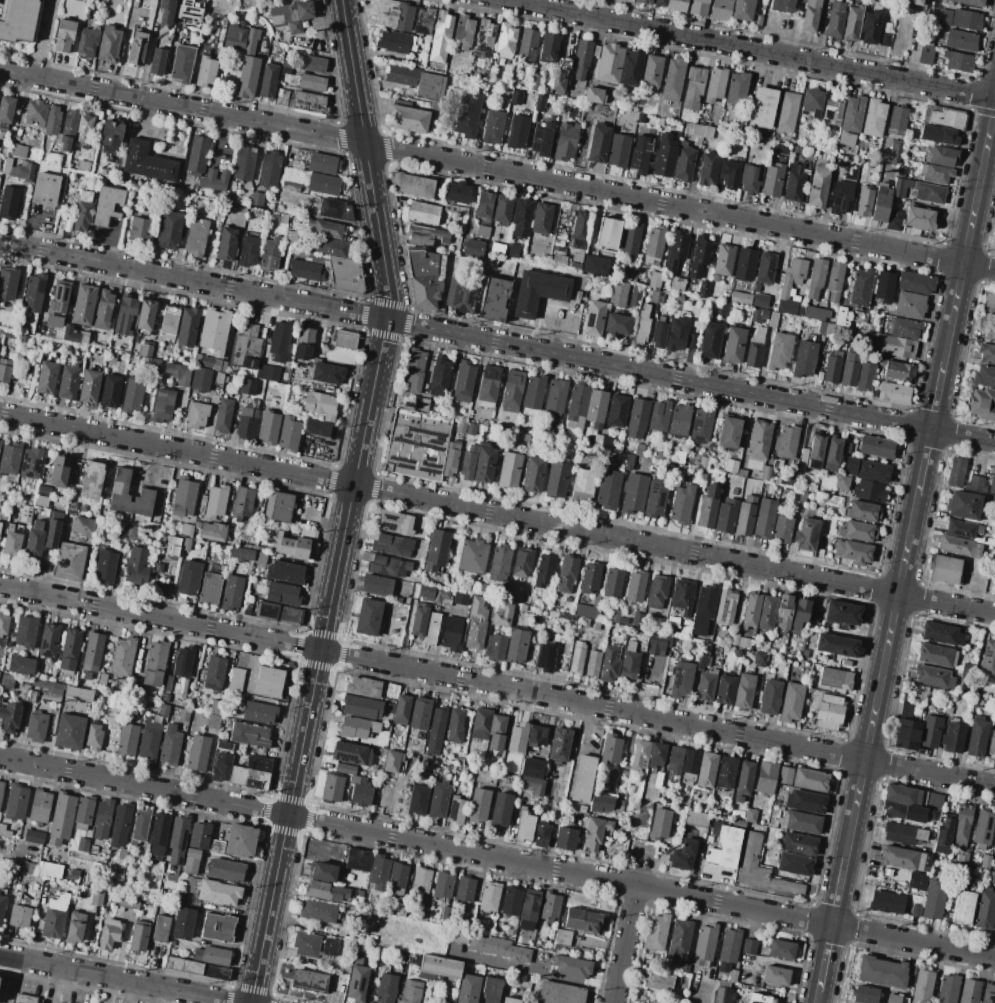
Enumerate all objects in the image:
building: (102, 0)
building: (803, 0)
building: (628, 1)
building: (644, 1)
building: (660, 2)
building: (914, 2)
building: (968, 2)
building: (677, 5)
building: (781, 5)
building: (698, 8)
building: (720, 9)
building: (742, 9)
building: (304, 10)
building: (166, 11)
building: (189, 11)
building: (386, 13)
building: (279, 15)
building: (810, 15)
building: (403, 17)
building: (18, 19)
building: (835, 19)
building: (960, 19)
building: (423, 20)
road: (325, 21)
building: (852, 22)
building: (870, 26)
building: (294, 28)
building: (463, 31)
building: (64, 36)
building: (235, 36)
building: (440, 36)
building: (484, 37)
road: (44, 38)
building: (251, 39)
building: (884, 39)
building: (961, 40)
building: (505, 41)
building: (396, 42)
building: (88, 43)
road: (121, 44)
building: (527, 44)
building: (109, 45)
building: (137, 48)
building: (548, 48)
road: (754, 49)
building: (595, 50)
building: (926, 54)
building: (582, 58)
building: (158, 61)
building: (958, 61)
building: (182, 62)
building: (609, 63)
building: (312, 64)
building: (285, 67)
building: (631, 68)
building: (651, 70)
building: (205, 71)
building: (401, 75)
building: (247, 77)
building: (673, 79)
building: (267, 80)
building: (558, 80)
building: (312, 82)
building: (534, 82)
building: (715, 84)
building: (428, 86)
building: (737, 87)
building: (483, 88)
building: (694, 88)
building: (491, 89)
building: (594, 95)
building: (281, 97)
building: (515, 97)
building: (308, 102)
building: (812, 102)
building: (539, 103)
building: (6, 108)
building: (762, 108)
building: (787, 112)
building: (35, 113)
road: (146, 114)
building: (467, 114)
building: (831, 114)
building: (853, 114)
building: (873, 118)
building: (897, 118)
building: (946, 118)
building: (408, 119)
building: (51, 121)
building: (493, 127)
building: (68, 128)
building: (85, 130)
building: (696, 130)
building: (517, 131)
building: (708, 132)
building: (938, 134)
building: (110, 136)
road: (220, 138)
building: (542, 139)
building: (565, 142)
building: (599, 143)
building: (797, 149)
building: (618, 150)
building: (18, 151)
building: (896, 152)
building: (197, 154)
building: (942, 156)
building: (664, 157)
building: (53, 159)
building: (639, 160)
building: (145, 162)
building: (684, 162)
building: (244, 163)
building: (321, 163)
building: (83, 164)
building: (7, 166)
building: (269, 169)
road: (497, 169)
building: (708, 169)
building: (23, 172)
building: (106, 172)
building: (729, 173)
building: (935, 174)
building: (750, 179)
building: (214, 180)
building: (774, 181)
building: (794, 182)
building: (324, 184)
building: (290, 186)
building: (416, 186)
building: (818, 187)
building: (901, 187)
building: (45, 190)
building: (456, 193)
building: (929, 193)
building: (841, 197)
building: (256, 198)
building: (864, 201)
building: (9, 202)
building: (881, 203)
building: (484, 204)
building: (108, 205)
building: (503, 208)
building: (330, 209)
building: (455, 209)
building: (83, 212)
building: (423, 212)
building: (521, 217)
building: (542, 218)
building: (919, 218)
building: (893, 221)
building: (325, 228)
building: (580, 229)
road: (969, 229)
building: (169, 230)
building: (140, 231)
building: (482, 231)
building: (608, 233)
building: (425, 234)
building: (291, 236)
building: (560, 236)
building: (195, 237)
building: (631, 238)
building: (655, 241)
building: (558, 243)
building: (226, 244)
building: (326, 246)
building: (473, 248)
building: (513, 250)
building: (558, 250)
building: (676, 250)
building: (248, 251)
building: (270, 253)
building: (577, 255)
building: (699, 255)
building: (315, 258)
building: (559, 261)
building: (723, 261)
building: (745, 263)
building: (595, 265)
building: (766, 268)
building: (305, 269)
building: (628, 274)
building: (341, 275)
building: (793, 275)
building: (816, 278)
building: (424, 279)
building: (655, 279)
building: (834, 280)
building: (915, 282)
building: (12, 284)
building: (677, 284)
building: (884, 286)
building: (860, 287)
building: (704, 288)
building: (757, 288)
building: (538, 291)
building: (33, 293)
building: (618, 294)
building: (459, 295)
building: (636, 295)
building: (657, 297)
building: (679, 297)
building: (740, 298)
building: (494, 299)
building: (761, 300)
building: (59, 301)
building: (989, 303)
building: (83, 305)
building: (724, 305)
building: (909, 306)
building: (790, 307)
building: (103, 310)
building: (816, 313)
building: (125, 314)
building: (146, 314)
building: (757, 315)
road: (558, 316)
building: (594, 318)
building: (773, 319)
building: (169, 322)
building: (617, 324)
building: (642, 324)
building: (187, 327)
building: (905, 328)
building: (214, 330)
building: (677, 333)
building: (990, 333)
road: (553, 334)
building: (658, 334)
building: (74, 335)
building: (24, 339)
building: (345, 339)
building: (691, 340)
building: (710, 340)
building: (35, 341)
building: (279, 341)
road: (497, 342)
building: (303, 343)
building: (733, 345)
building: (895, 346)
building: (245, 347)
building: (755, 348)
building: (146, 350)
building: (779, 350)
building: (986, 353)
building: (807, 356)
building: (112, 357)
building: (197, 360)
building: (211, 363)
building: (832, 366)
building: (223, 367)
building: (5, 369)
building: (413, 369)
building: (849, 369)
building: (898, 371)
building: (440, 372)
building: (178, 373)
building: (267, 373)
building: (326, 373)
building: (865, 376)
building: (984, 376)
building: (47, 377)
building: (219, 378)
building: (200, 379)
building: (68, 381)
building: (464, 382)
building: (90, 386)
building: (488, 386)
building: (247, 387)
building: (110, 390)
building: (512, 391)
building: (533, 392)
building: (893, 392)
building: (133, 395)
road: (936, 395)
building: (555, 398)
building: (577, 401)
building: (424, 404)
building: (982, 404)
building: (163, 405)
building: (320, 405)
building: (596, 407)
building: (617, 410)
building: (196, 414)
building: (223, 415)
building: (659, 415)
building: (637, 417)
building: (679, 420)
building: (247, 423)
building: (701, 425)
building: (268, 427)
building: (460, 427)
building: (316, 428)
building: (471, 429)
building: (728, 432)
building: (289, 433)
building: (525, 437)
building: (760, 438)
building: (597, 440)
building: (0, 442)
building: (787, 442)
building: (606, 443)
building: (417, 444)
building: (876, 447)
building: (639, 449)
building: (815, 451)
building: (832, 454)
building: (680, 457)
building: (10, 458)
building: (451, 459)
building: (629, 459)
building: (467, 462)
road: (924, 462)
building: (30, 463)
building: (702, 463)
building: (484, 465)
road: (153, 466)
building: (731, 466)
building: (509, 470)
building: (867, 470)
building: (59, 471)
building: (766, 473)
building: (533, 475)
building: (969, 477)
building: (91, 479)
building: (556, 479)
building: (789, 479)
building: (841, 482)
building: (582, 485)
building: (608, 489)
building: (43, 490)
building: (869, 491)
building: (147, 492)
building: (634, 493)
building: (799, 495)
building: (184, 497)
building: (655, 499)
building: (831, 500)
building: (41, 501)
building: (216, 501)
building: (258, 501)
road: (351, 502)
building: (241, 503)
building: (681, 504)
building: (278, 505)
building: (965, 505)
road: (306, 506)
building: (707, 507)
building: (863, 511)
building: (26, 514)
road: (497, 514)
building: (726, 515)
building: (745, 516)
building: (764, 518)
road: (320, 520)
building: (395, 523)
building: (0, 524)
building: (196, 524)
building: (83, 526)
building: (959, 528)
building: (52, 529)
building: (186, 529)
building: (783, 529)
building: (122, 530)
building: (212, 531)
building: (857, 531)
building: (131, 532)
building: (806, 534)
building: (994, 539)
building: (35, 540)
building: (12, 541)
building: (392, 545)
building: (173, 546)
building: (960, 546)
building: (292, 547)
building: (436, 549)
building: (852, 551)
building: (241, 554)
building: (472, 556)
building: (259, 558)
building: (69, 561)
building: (499, 562)
building: (522, 563)
building: (137, 566)
building: (388, 566)
building: (105, 567)
building: (945, 569)
building: (544, 570)
building: (285, 572)
building: (566, 573)
building: (590, 578)
building: (188, 579)
building: (612, 583)
building: (377, 585)
building: (635, 587)
building: (209, 588)
building: (231, 592)
building: (426, 592)
building: (657, 592)
building: (282, 593)
building: (440, 594)
building: (682, 596)
building: (461, 598)
building: (725, 606)
building: (704, 609)
building: (583, 610)
building: (751, 610)
building: (784, 610)
building: (767, 612)
building: (278, 613)
building: (843, 613)
building: (503, 614)
building: (799, 614)
building: (614, 616)
building: (368, 617)
building: (637, 620)
building: (419, 621)
building: (3, 623)
building: (476, 623)
building: (592, 624)
building: (433, 629)
building: (25, 632)
building: (451, 632)
building: (942, 634)
road: (382, 636)
building: (734, 639)
building: (48, 640)
building: (658, 642)
building: (744, 643)
building: (836, 645)
building: (494, 646)
building: (517, 646)
building: (70, 649)
building: (92, 651)
building: (736, 653)
building: (937, 655)
building: (123, 656)
building: (703, 657)
building: (576, 658)
building: (546, 659)
building: (759, 659)
building: (988, 660)
building: (183, 661)
building: (629, 662)
building: (155, 663)
building: (609, 663)
building: (592, 664)
building: (21, 665)
building: (215, 672)
building: (86, 675)
road: (882, 676)
building: (934, 677)
building: (102, 679)
building: (681, 679)
building: (835, 679)
building: (235, 680)
building: (7, 681)
building: (269, 682)
building: (167, 684)
building: (705, 685)
building: (48, 686)
road: (497, 686)
building: (363, 687)
building: (180, 688)
building: (725, 689)
building: (744, 690)
building: (392, 691)
building: (78, 693)
building: (32, 694)
building: (770, 697)
building: (165, 698)
building: (112, 701)
building: (791, 701)
building: (975, 703)
building: (216, 707)
building: (361, 707)
building: (142, 708)
building: (401, 709)
building: (164, 710)
building: (906, 710)
building: (259, 712)
building: (420, 713)
building: (829, 713)
building: (184, 715)
building: (10, 717)
building: (213, 721)
building: (481, 723)
building: (455, 725)
building: (36, 727)
building: (358, 728)
road: (584, 728)
building: (436, 731)
building: (496, 731)
building: (930, 731)
building: (69, 732)
building: (907, 734)
building: (249, 735)
building: (536, 735)
building: (94, 736)
building: (516, 737)
building: (953, 737)
building: (977, 737)
building: (128, 739)
building: (149, 742)
building: (992, 742)
building: (170, 745)
building: (225, 745)
building: (559, 745)
road: (568, 749)
building: (610, 749)
building: (197, 753)
building: (349, 753)
building: (639, 753)
building: (656, 754)
building: (675, 760)
building: (391, 762)
building: (690, 765)
building: (221, 767)
building: (345, 768)
building: (532, 768)
building: (707, 769)
building: (252, 772)
building: (725, 772)
building: (785, 775)
building: (485, 776)
building: (765, 777)
building: (583, 778)
building: (810, 779)
building: (658, 780)
building: (744, 780)
building: (532, 785)
building: (1, 788)
building: (332, 788)
building: (361, 794)
building: (902, 794)
building: (418, 799)
building: (439, 800)
building: (933, 800)
building: (805, 801)
building: (16, 802)
building: (600, 803)
building: (478, 805)
building: (39, 806)
road: (27, 808)
building: (501, 808)
building: (456, 810)
building: (898, 811)
building: (84, 812)
building: (925, 813)
building: (749, 815)
building: (61, 818)
building: (102, 818)
building: (696, 819)
building: (801, 822)
building: (120, 823)
building: (659, 824)
building: (524, 825)
building: (140, 826)
building: (962, 826)
building: (982, 829)
building: (4, 831)
building: (158, 833)
building: (595, 833)
building: (902, 833)
building: (541, 834)
building: (200, 835)
building: (33, 836)
building: (943, 836)
building: (566, 838)
building: (177, 839)
building: (241, 841)
building: (994, 843)
building: (799, 844)
building: (82, 845)
building: (728, 845)
building: (216, 847)
building: (93, 849)
building: (122, 853)
building: (684, 854)
road: (497, 857)
building: (901, 858)
building: (962, 858)
building: (358, 860)
building: (191, 861)
building: (985, 862)
building: (795, 864)
building: (994, 865)
building: (22, 867)
building: (760, 868)
building: (49, 869)
building: (226, 870)
building: (323, 872)
building: (379, 872)
building: (73, 875)
building: (398, 877)
building: (992, 878)
building: (421, 880)
building: (6, 881)
building: (917, 881)
building: (358, 883)
building: (442, 884)
building: (192, 885)
building: (19, 887)
building: (465, 889)
building: (326, 891)
road: (840, 891)
building: (218, 892)
building: (358, 893)
building: (489, 896)
building: (97, 897)
building: (17, 898)
building: (124, 899)
building: (933, 899)
building: (511, 900)
building: (21, 901)
building: (886, 902)
building: (530, 904)
building: (2, 906)
building: (550, 907)
building: (963, 907)
road: (833, 909)
building: (984, 910)
building: (318, 911)
building: (420, 912)
building: (446, 913)
building: (19, 916)
building: (54, 916)
road: (808, 919)
building: (582, 920)
building: (183, 922)
building: (74, 927)
building: (218, 927)
road: (631, 927)
building: (161, 928)
road: (852, 929)
building: (656, 932)
building: (109, 934)
building: (458, 934)
building: (139, 936)
building: (562, 937)
road: (825, 939)
building: (679, 940)
building: (307, 944)
building: (704, 944)
building: (749, 946)
building: (330, 947)
building: (499, 948)
building: (728, 949)
building: (781, 949)
building: (212, 955)
road: (827, 959)
building: (173, 963)
road: (782, 966)
building: (192, 967)
building: (573, 967)
building: (438, 968)
road: (532, 969)
building: (216, 972)
building: (881, 972)
building: (776, 976)
road: (117, 978)
road: (6, 980)
building: (310, 981)
building: (658, 982)
building: (357, 983)
road: (57, 985)
building: (922, 986)
road: (335, 987)
building: (386, 989)
building: (469, 989)
building: (491, 989)
building: (947, 989)
building: (970, 991)
building: (410, 992)
building: (560, 993)
building: (865, 994)
building: (988, 994)
building: (723, 995)
road: (818, 997)
building: (23, 998)
building: (757, 998)
building: (892, 998)
building: (511, 1000)
building: (64, 1002)
building: (652, 1002)

